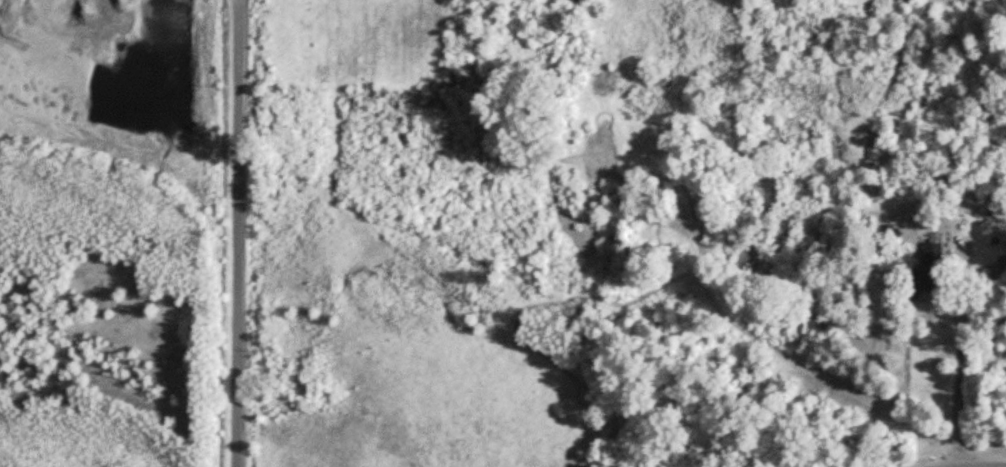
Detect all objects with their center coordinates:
road: (240, 233)
building: (937, 257)
building: (924, 283)
road: (960, 363)
road: (976, 464)

